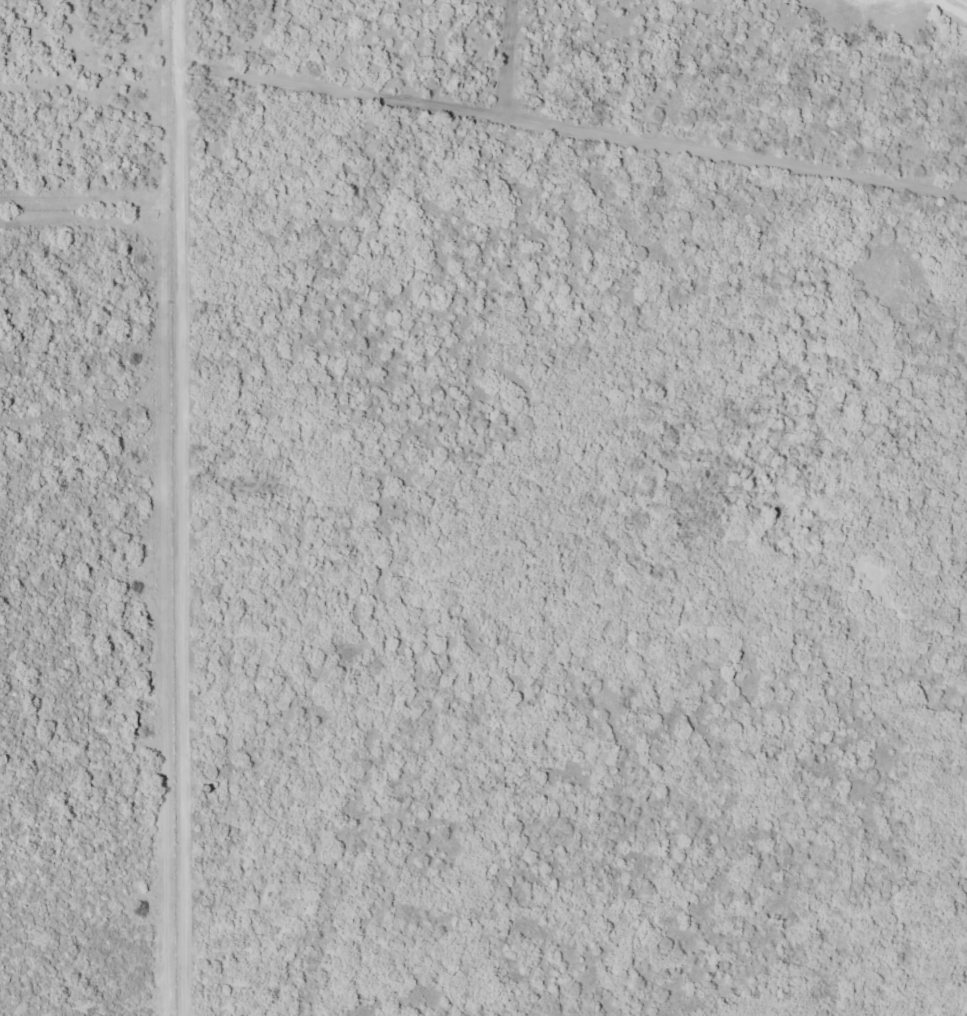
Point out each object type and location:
road: (946, 10)

